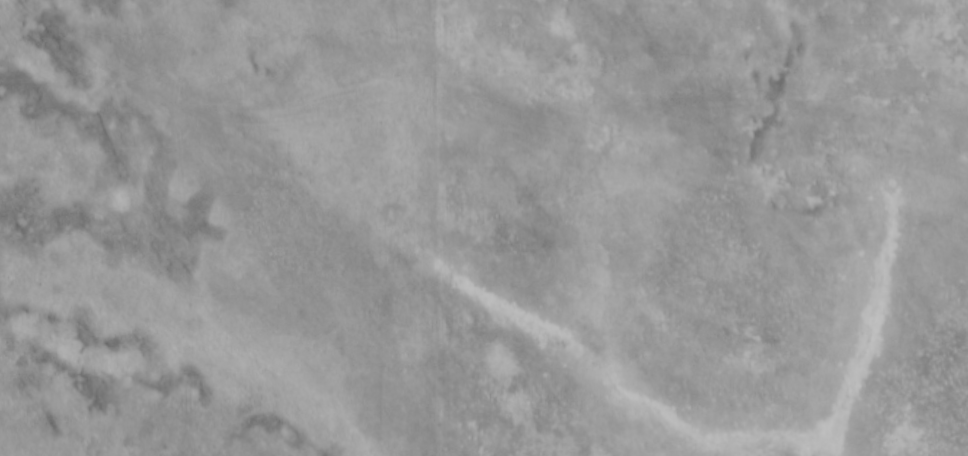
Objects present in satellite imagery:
road: (727, 108)

